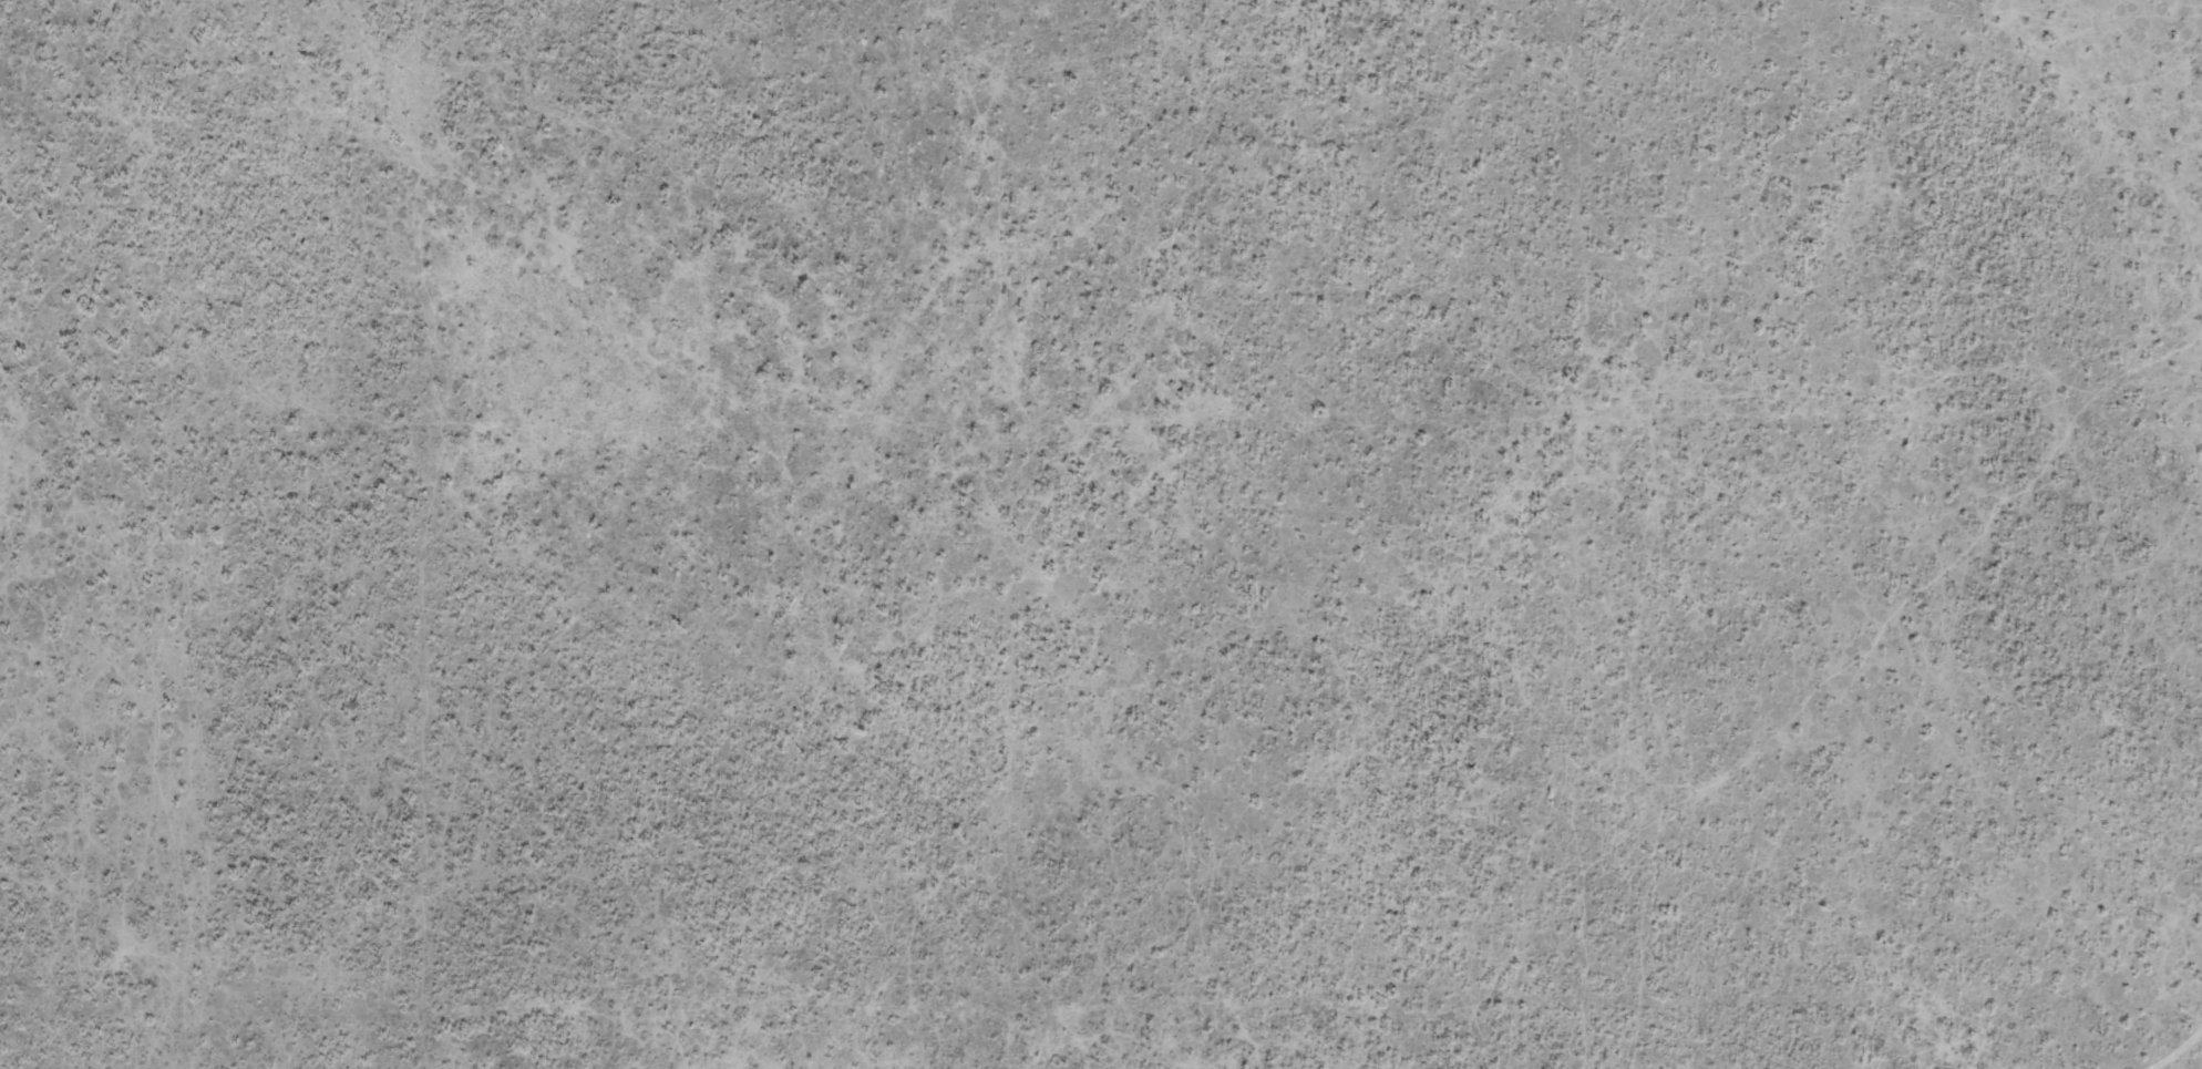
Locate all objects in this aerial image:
road: (2194, 1063)

